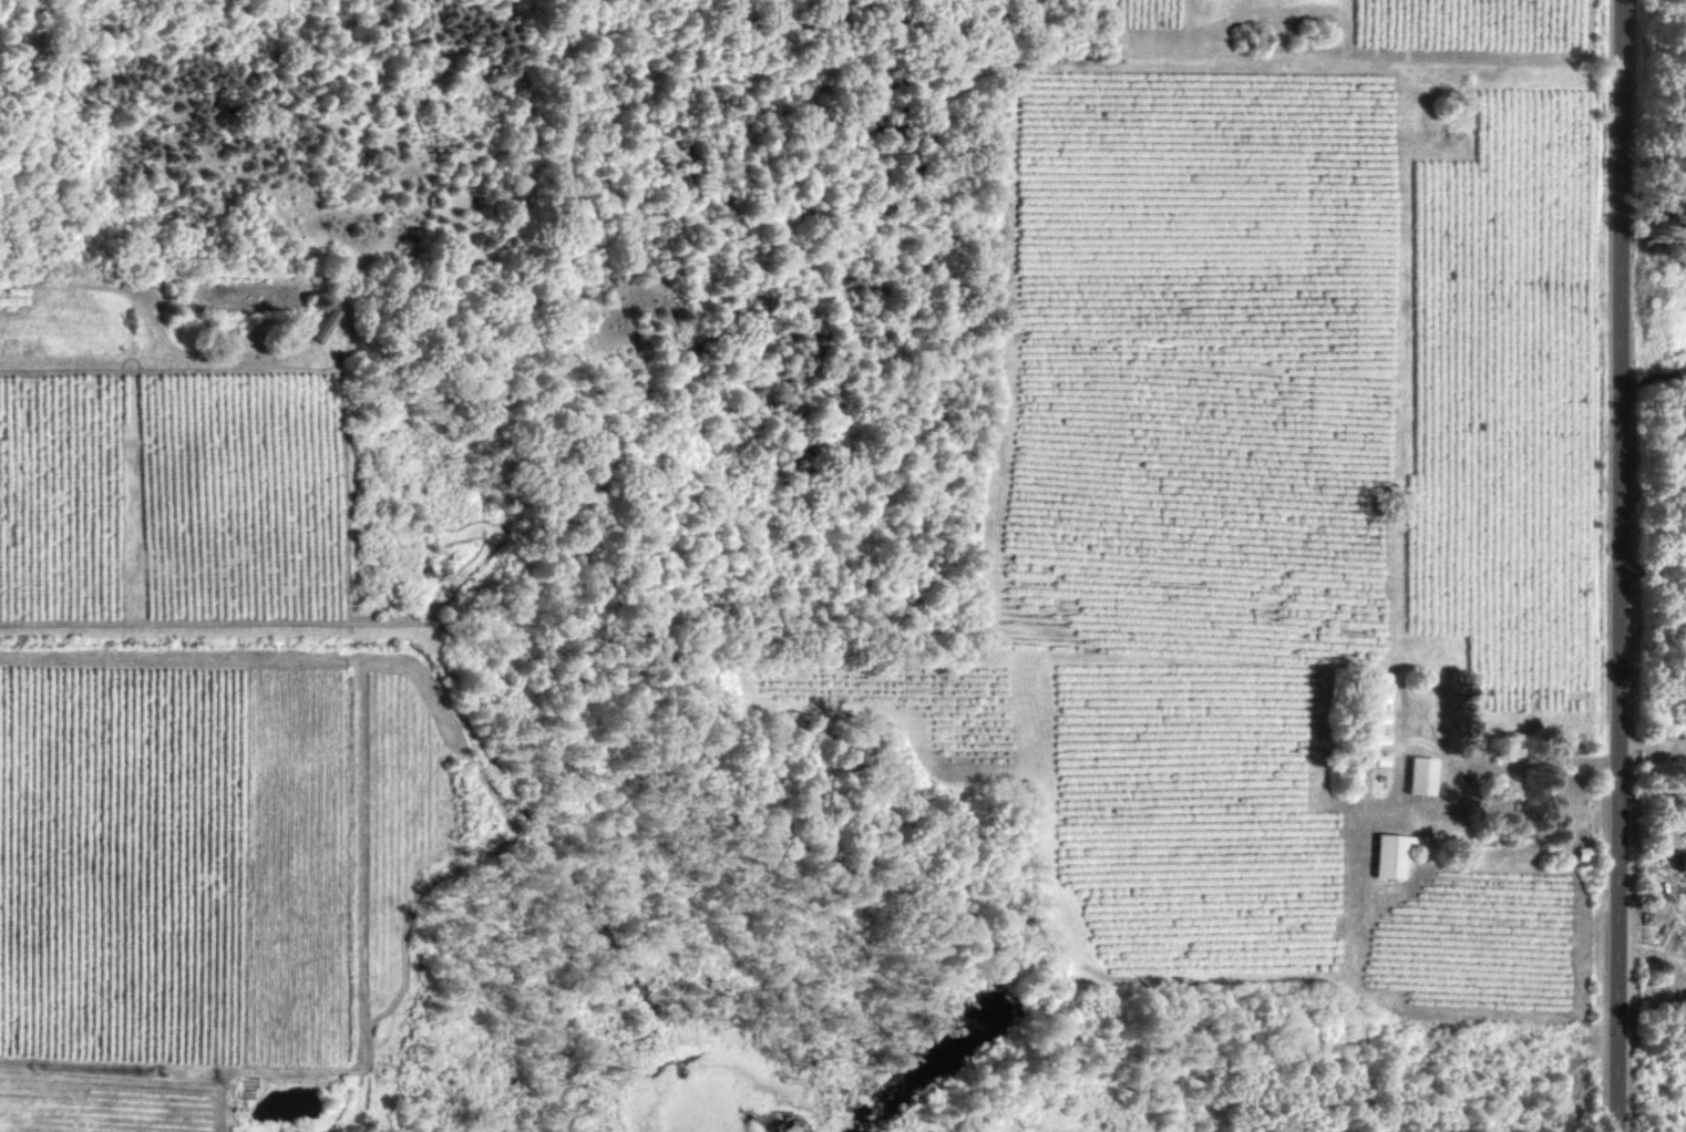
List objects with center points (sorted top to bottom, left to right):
road: (1618, 565)
building: (1421, 774)
building: (1585, 852)
building: (1394, 854)

